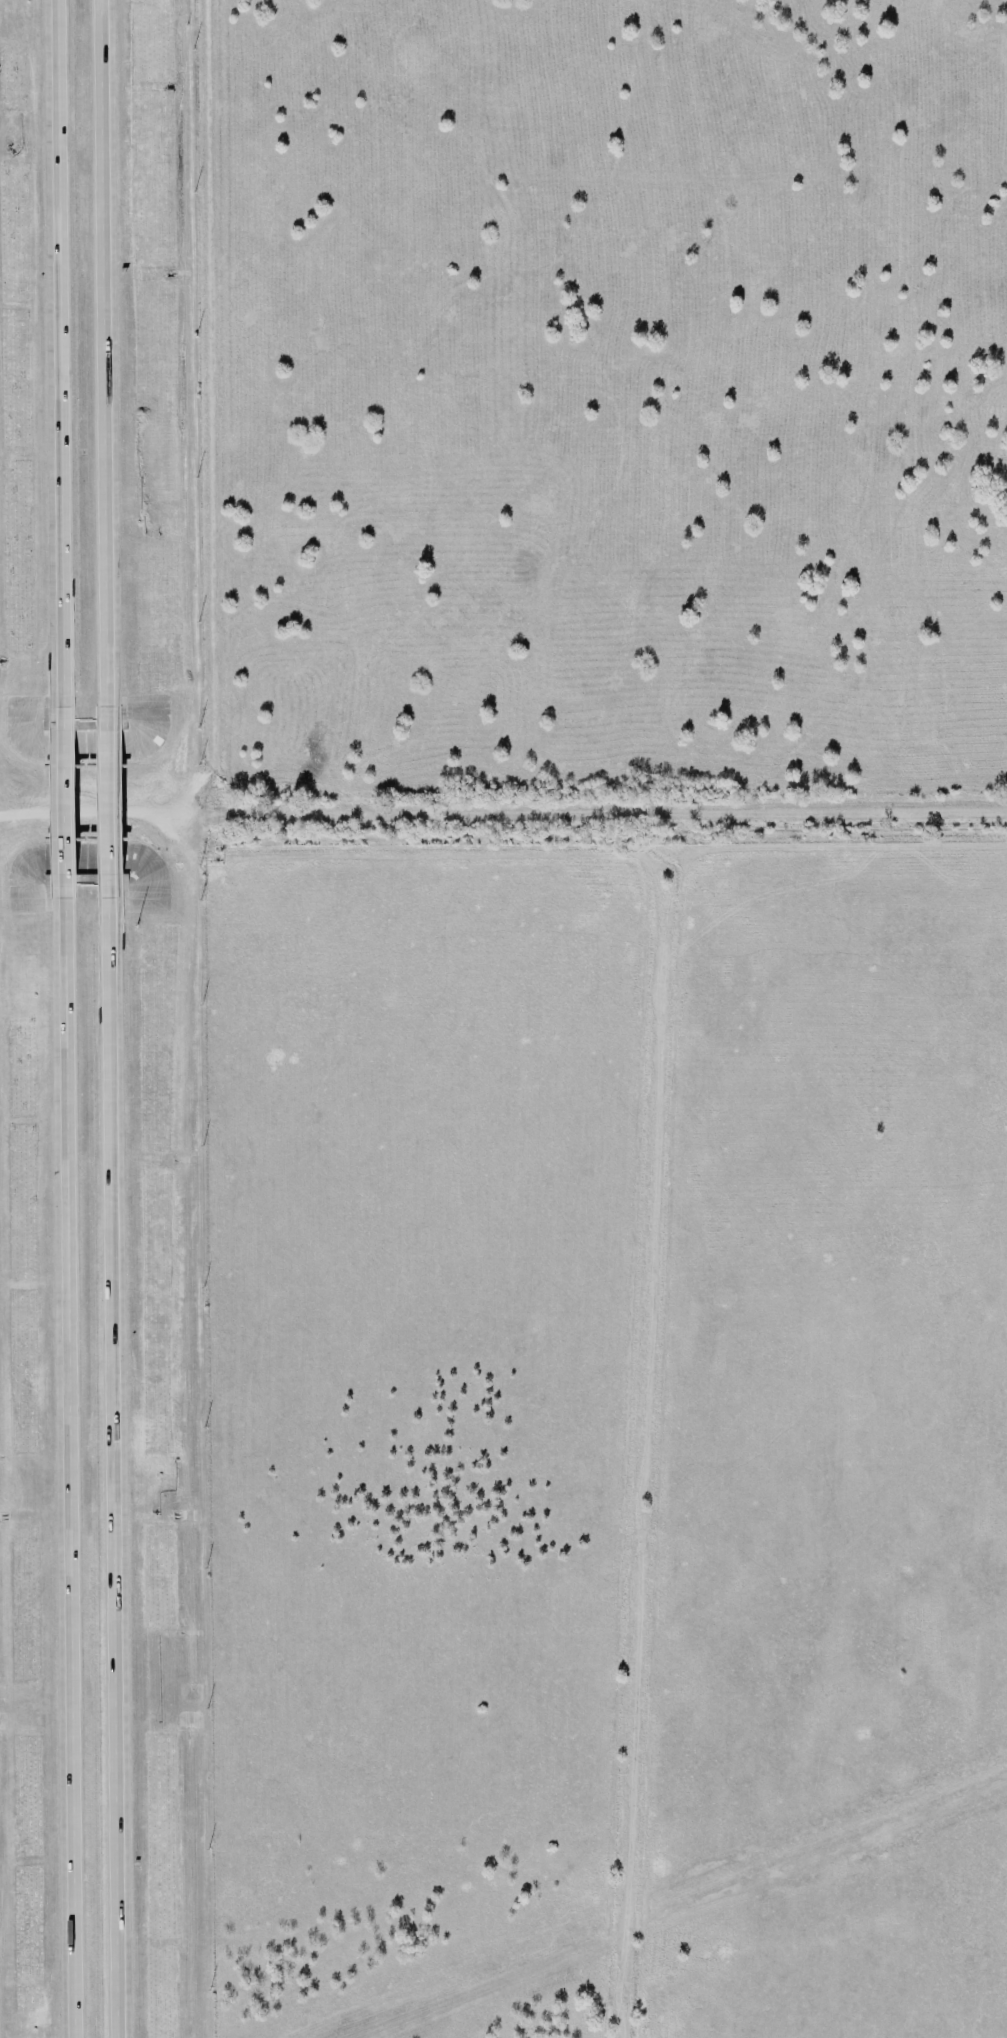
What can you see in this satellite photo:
road: (61, 353)
road: (105, 366)
road: (109, 800)
road: (65, 802)
road: (114, 1452)
road: (69, 1468)

